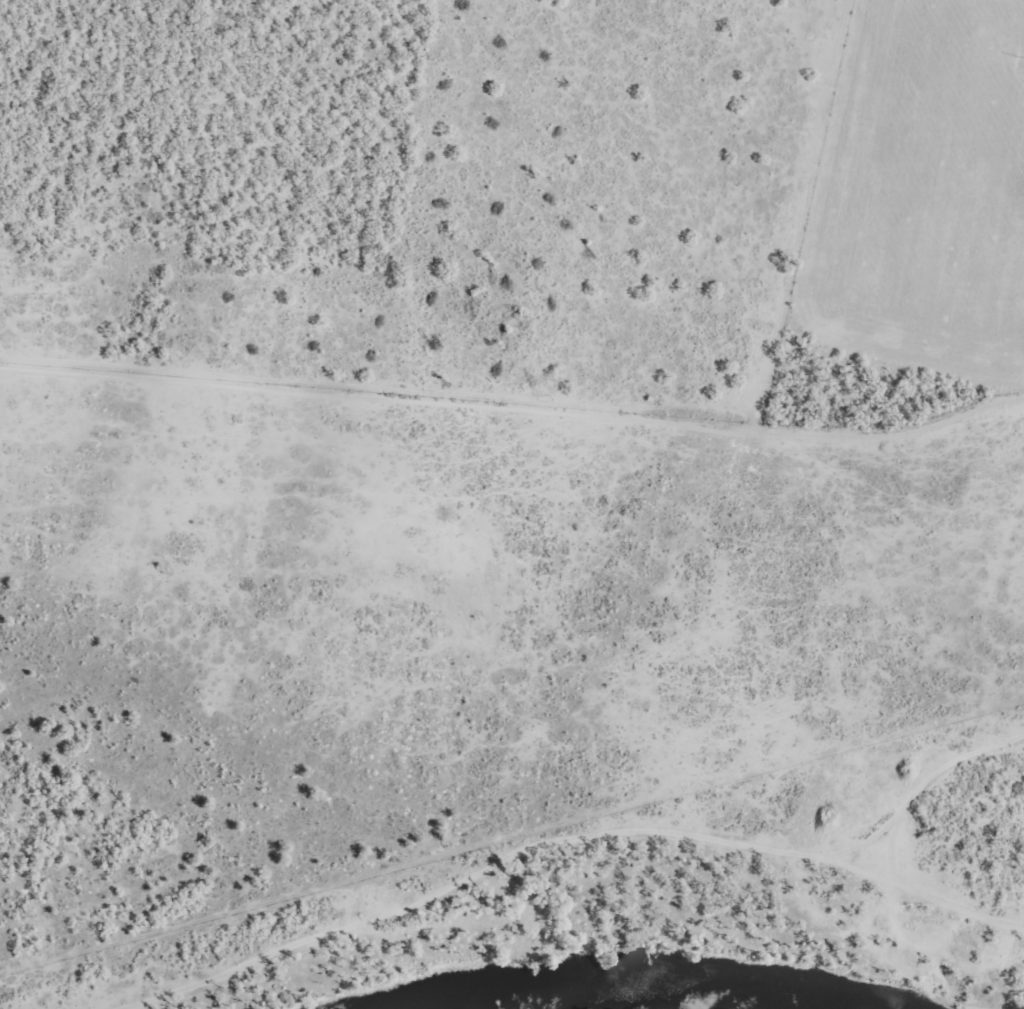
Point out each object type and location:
road: (927, 799)
road: (524, 870)
road: (951, 917)
river: (594, 987)

